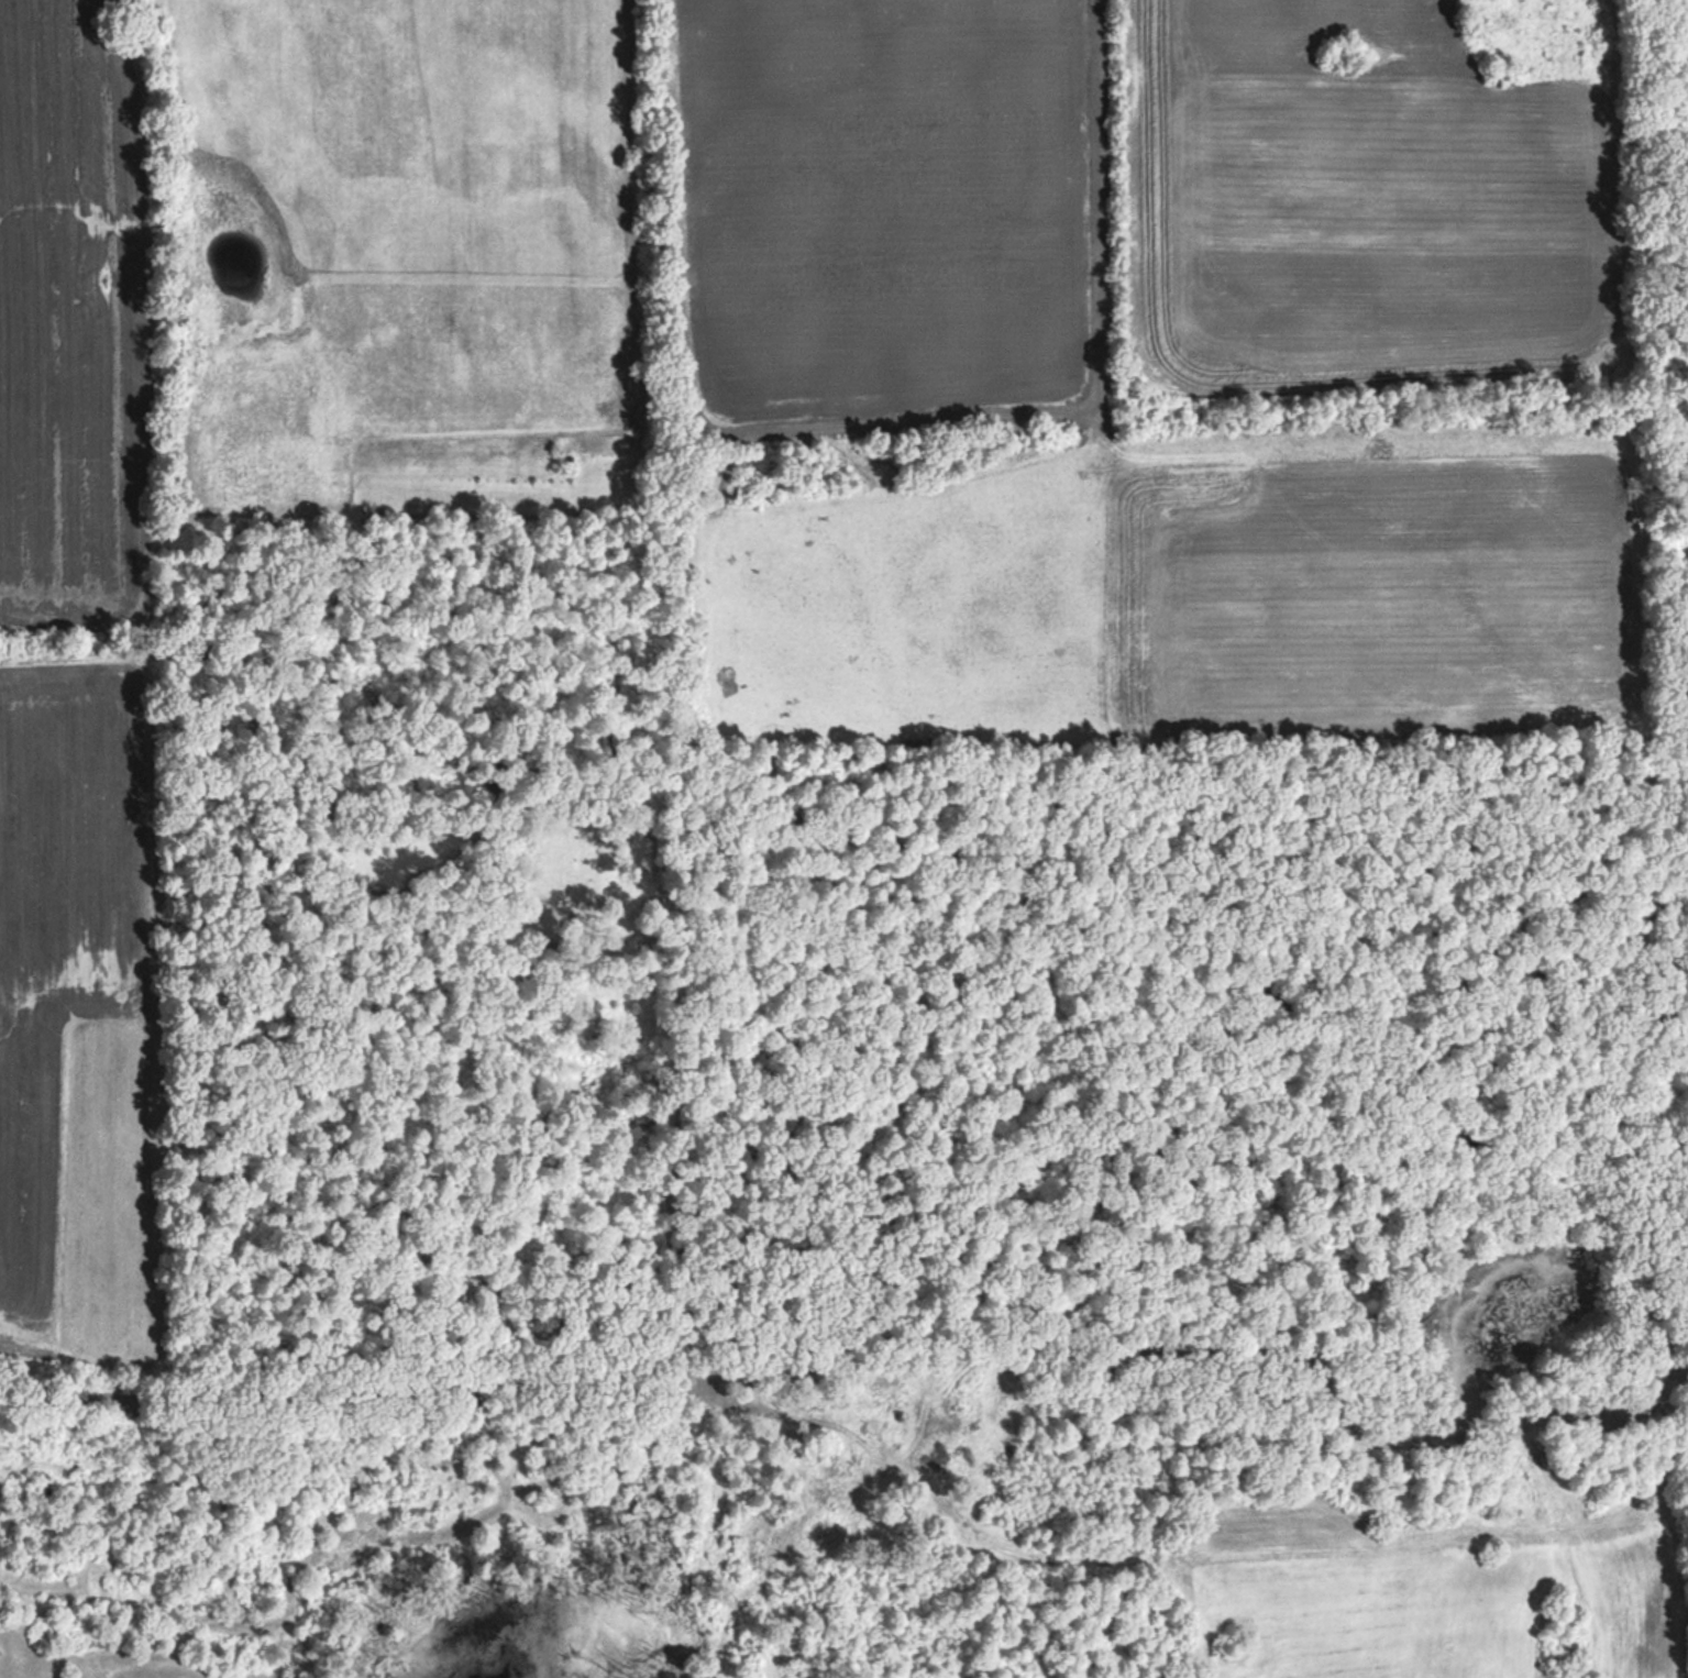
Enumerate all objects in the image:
road: (444, 1384)

